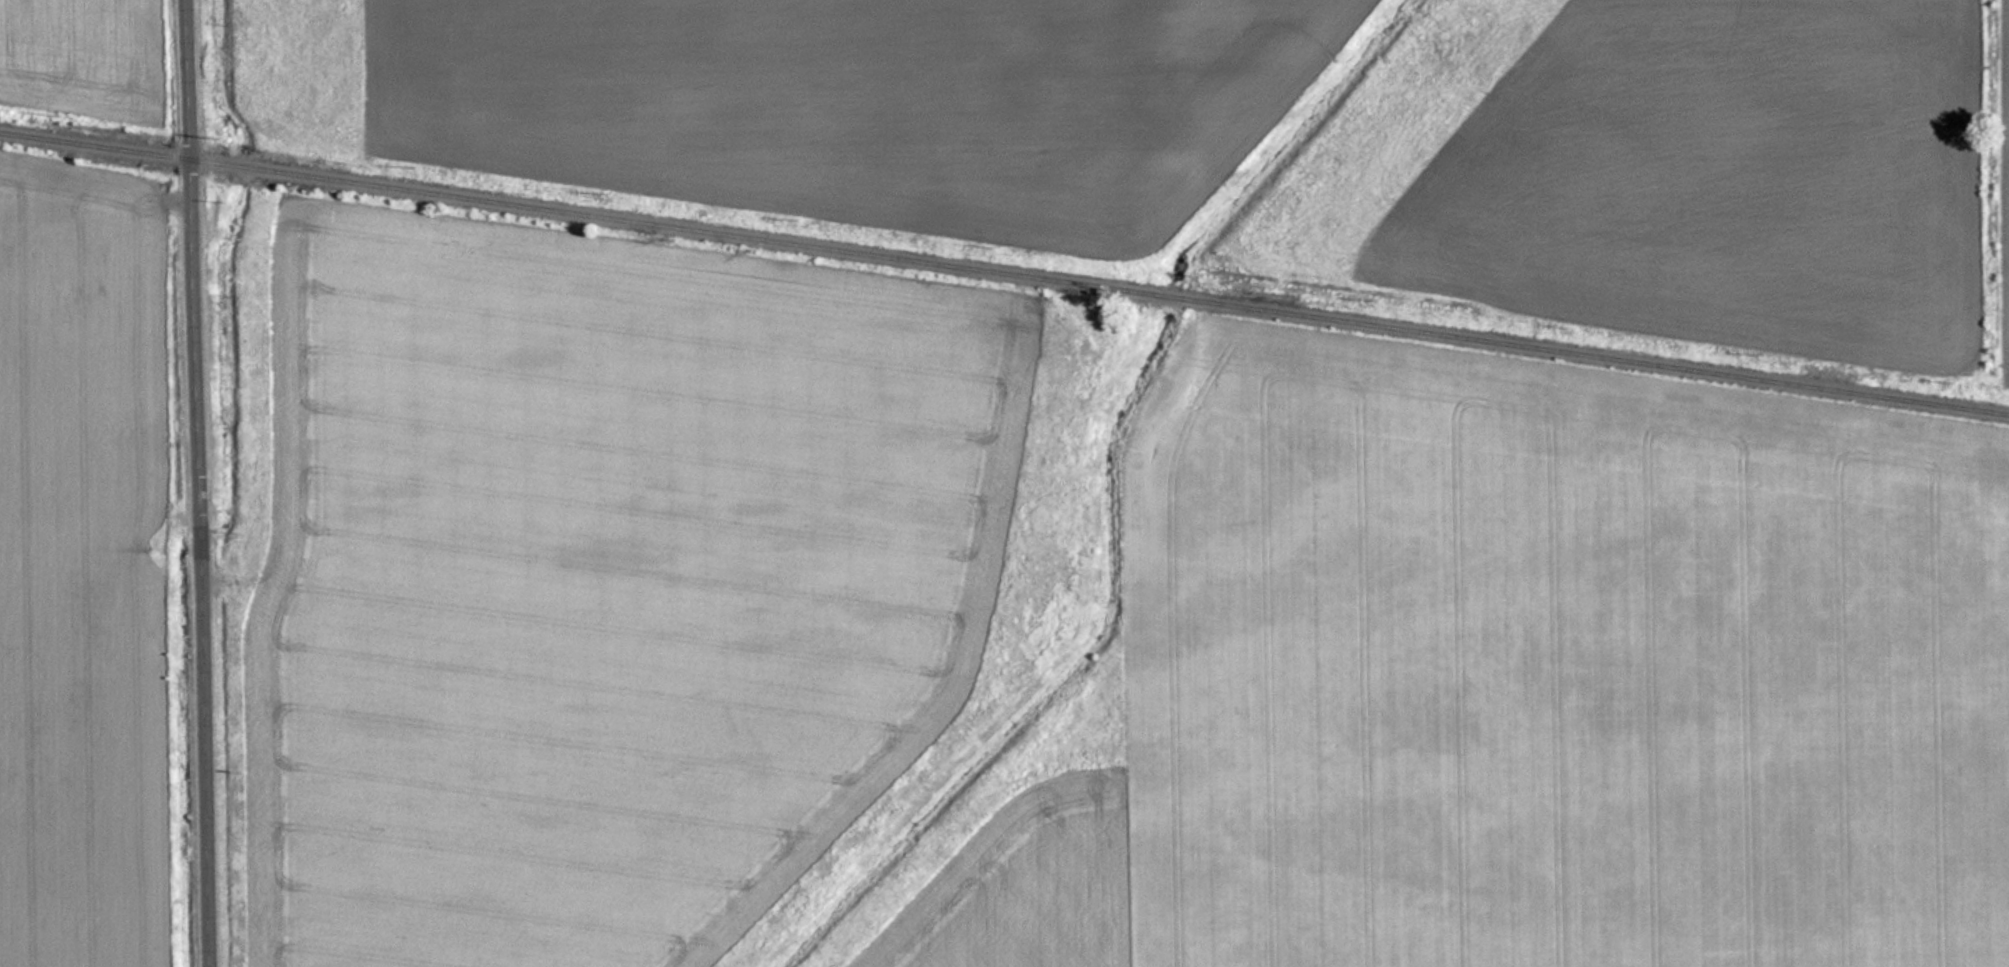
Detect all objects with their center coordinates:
railway: (1004, 270)
road: (200, 483)

